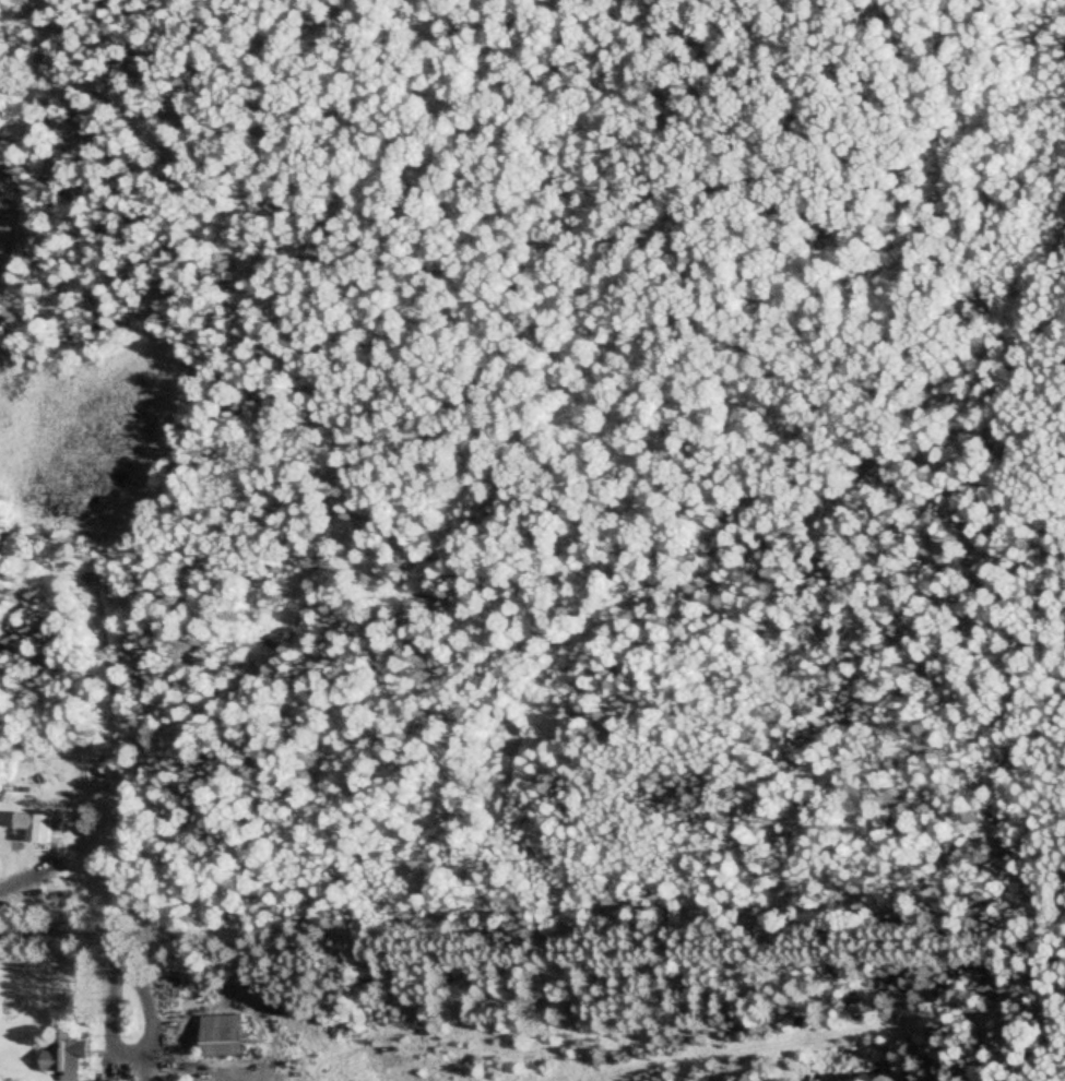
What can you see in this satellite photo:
building: (38, 827)
building: (225, 1035)
building: (66, 1055)

